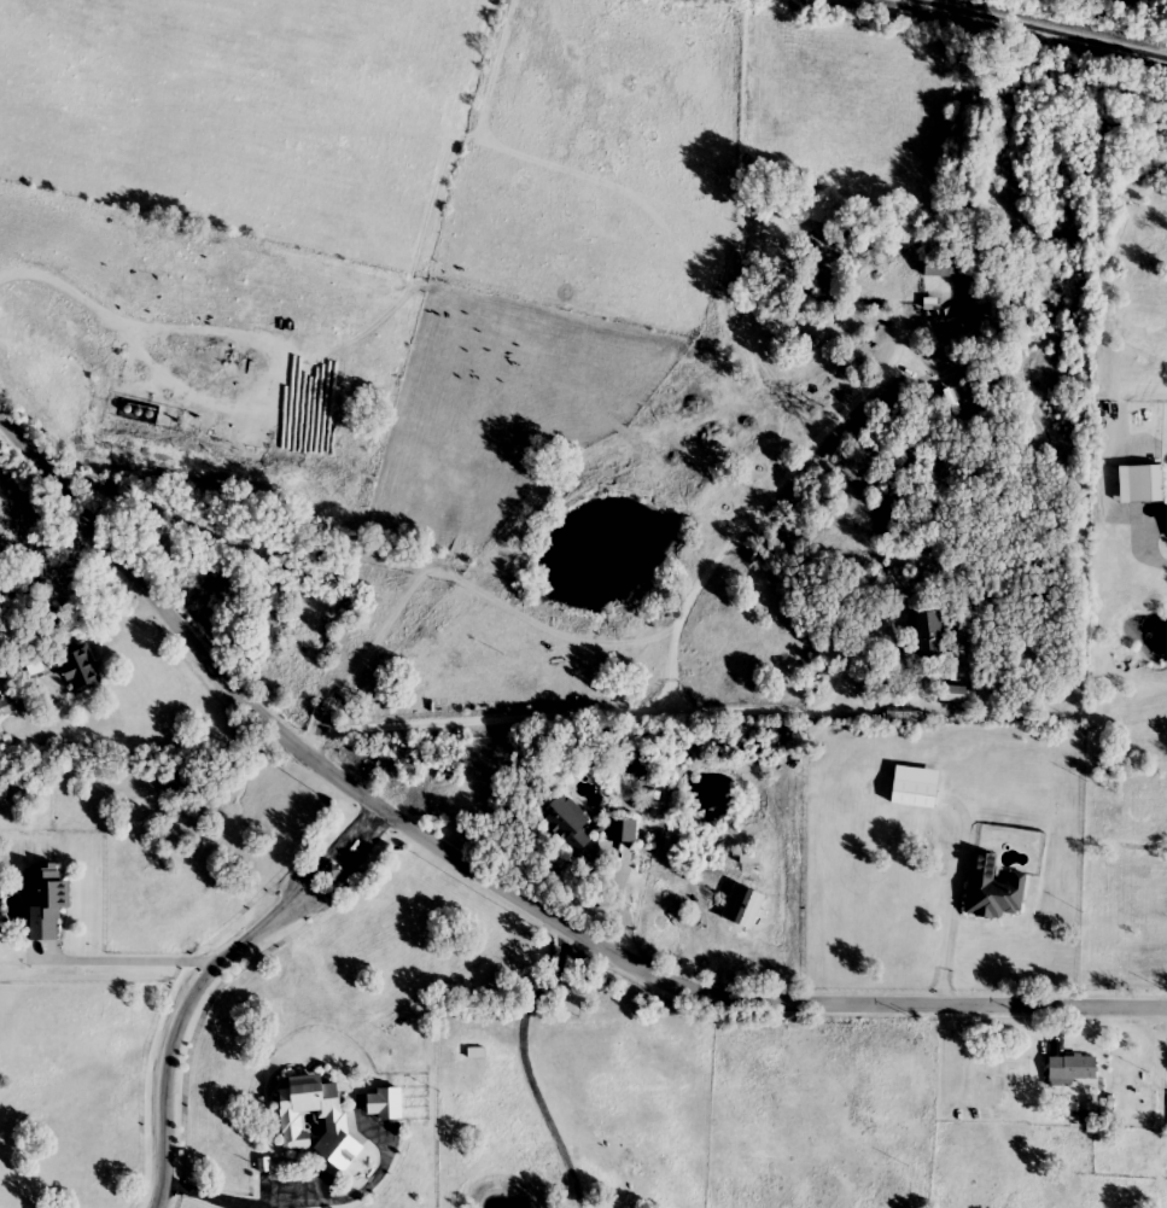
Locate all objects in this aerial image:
railway: (1046, 27)
building: (944, 273)
road: (95, 319)
building: (1149, 484)
building: (891, 519)
road: (1154, 552)
road: (606, 632)
building: (927, 635)
road: (675, 666)
building: (82, 671)
building: (957, 695)
building: (8, 707)
road: (608, 713)
building: (904, 718)
building: (916, 788)
building: (565, 830)
building: (624, 830)
building: (751, 857)
road: (498, 881)
building: (996, 891)
building: (43, 905)
road: (951, 932)
road: (138, 952)
road: (205, 976)
road: (523, 1062)
building: (1072, 1070)
building: (387, 1103)
building: (338, 1122)
road: (238, 1202)

